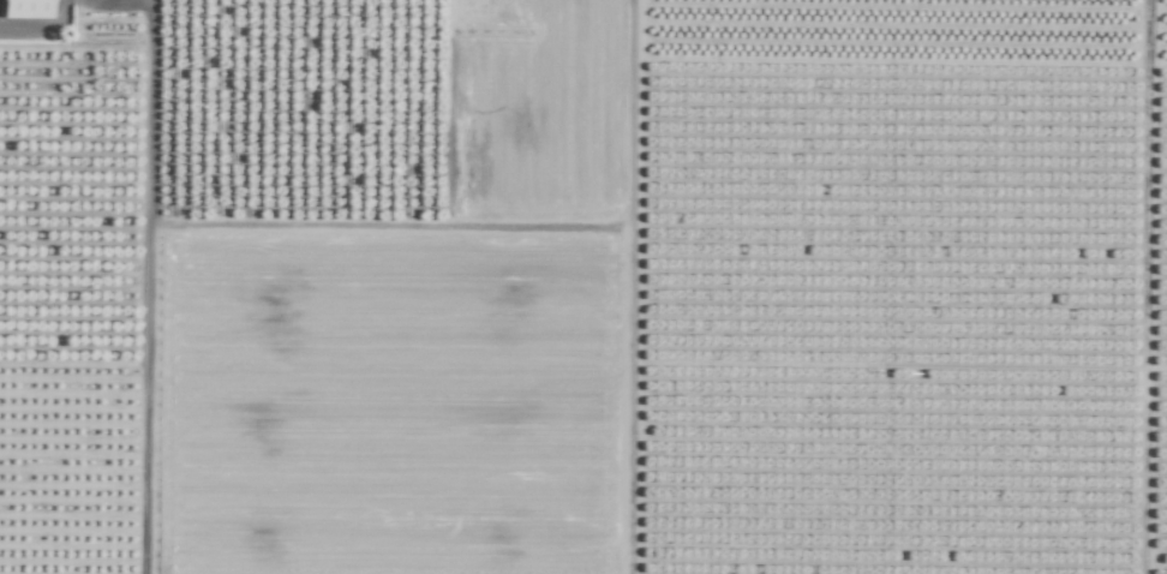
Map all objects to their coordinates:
building: (24, 8)
road: (40, 29)

